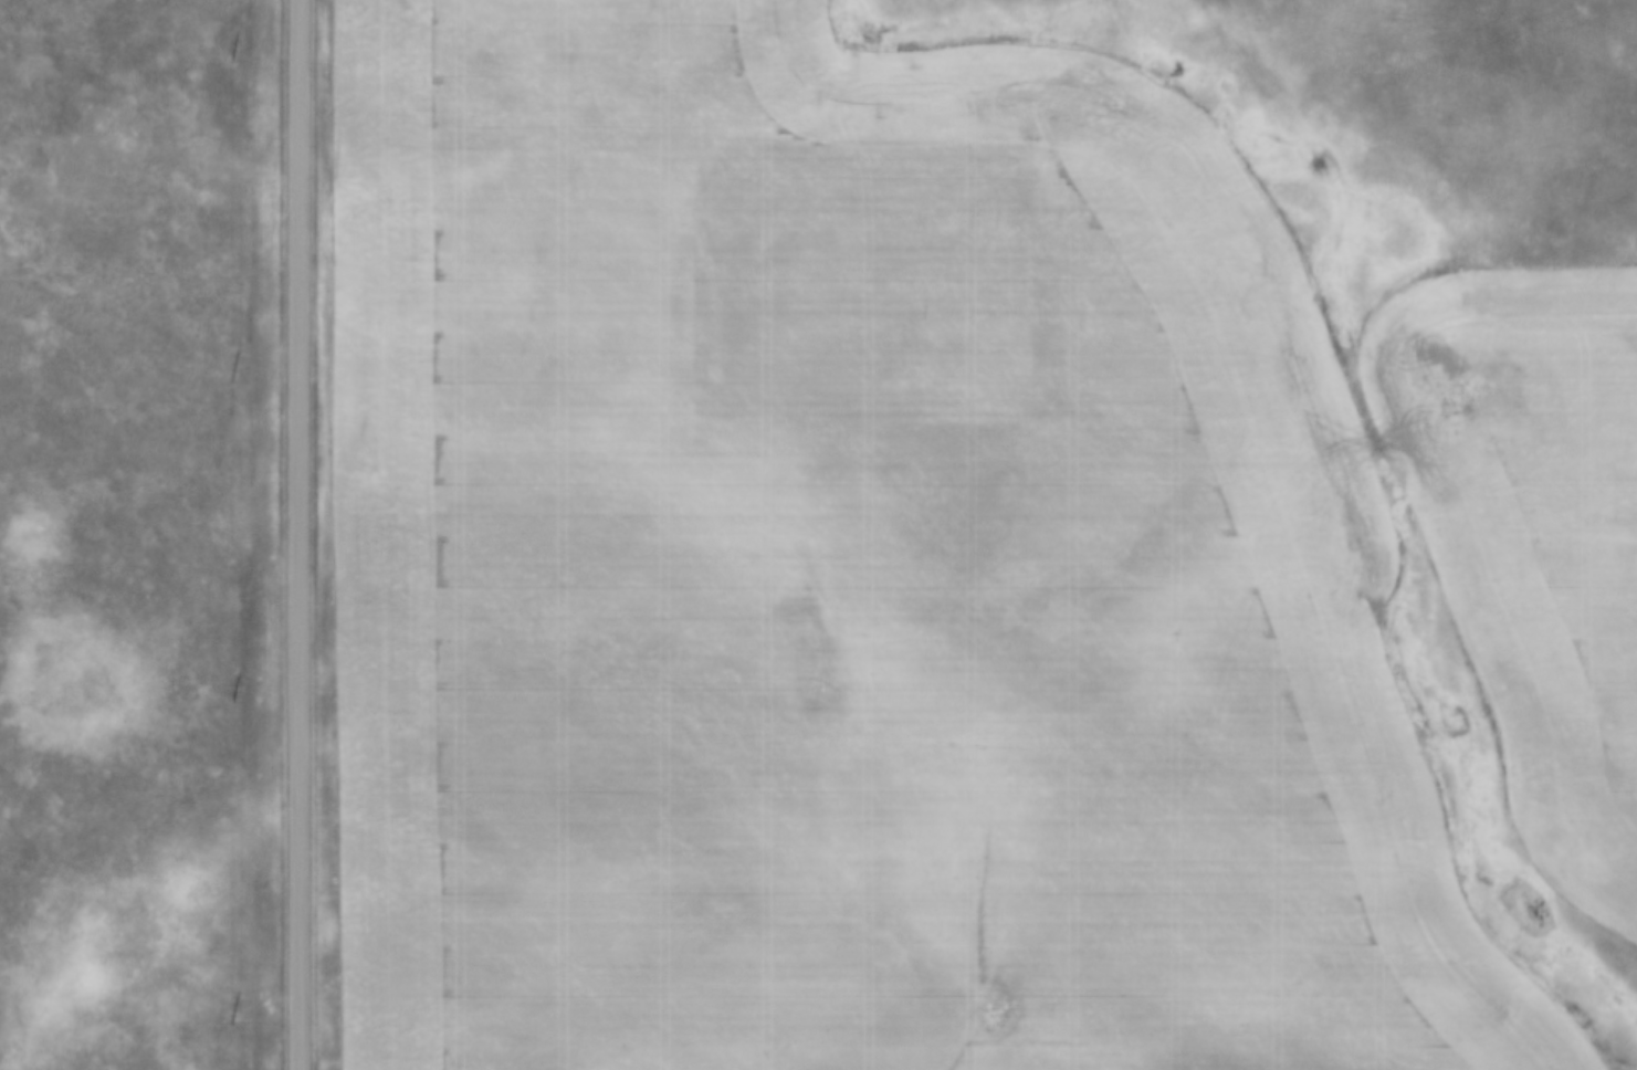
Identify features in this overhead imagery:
road: (301, 535)

